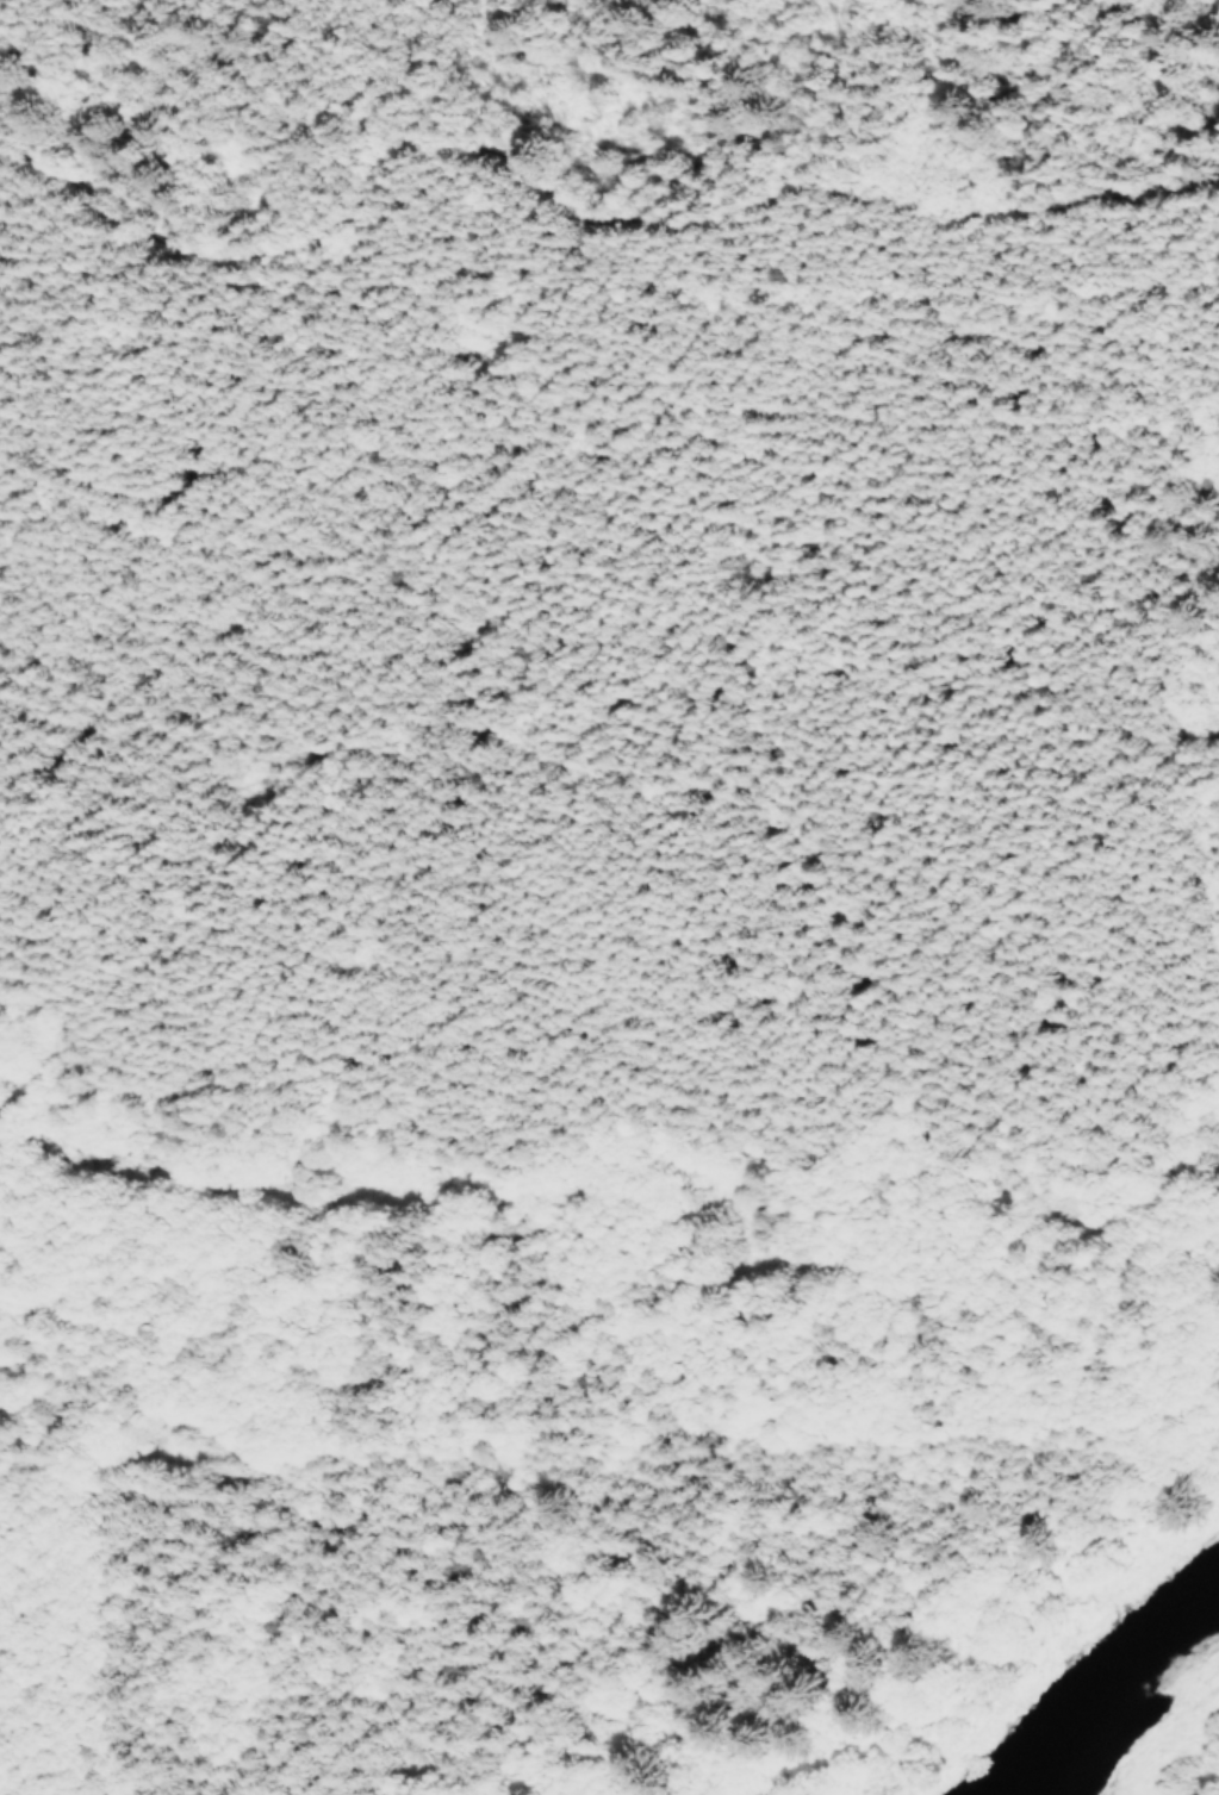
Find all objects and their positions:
river: (1115, 1693)

